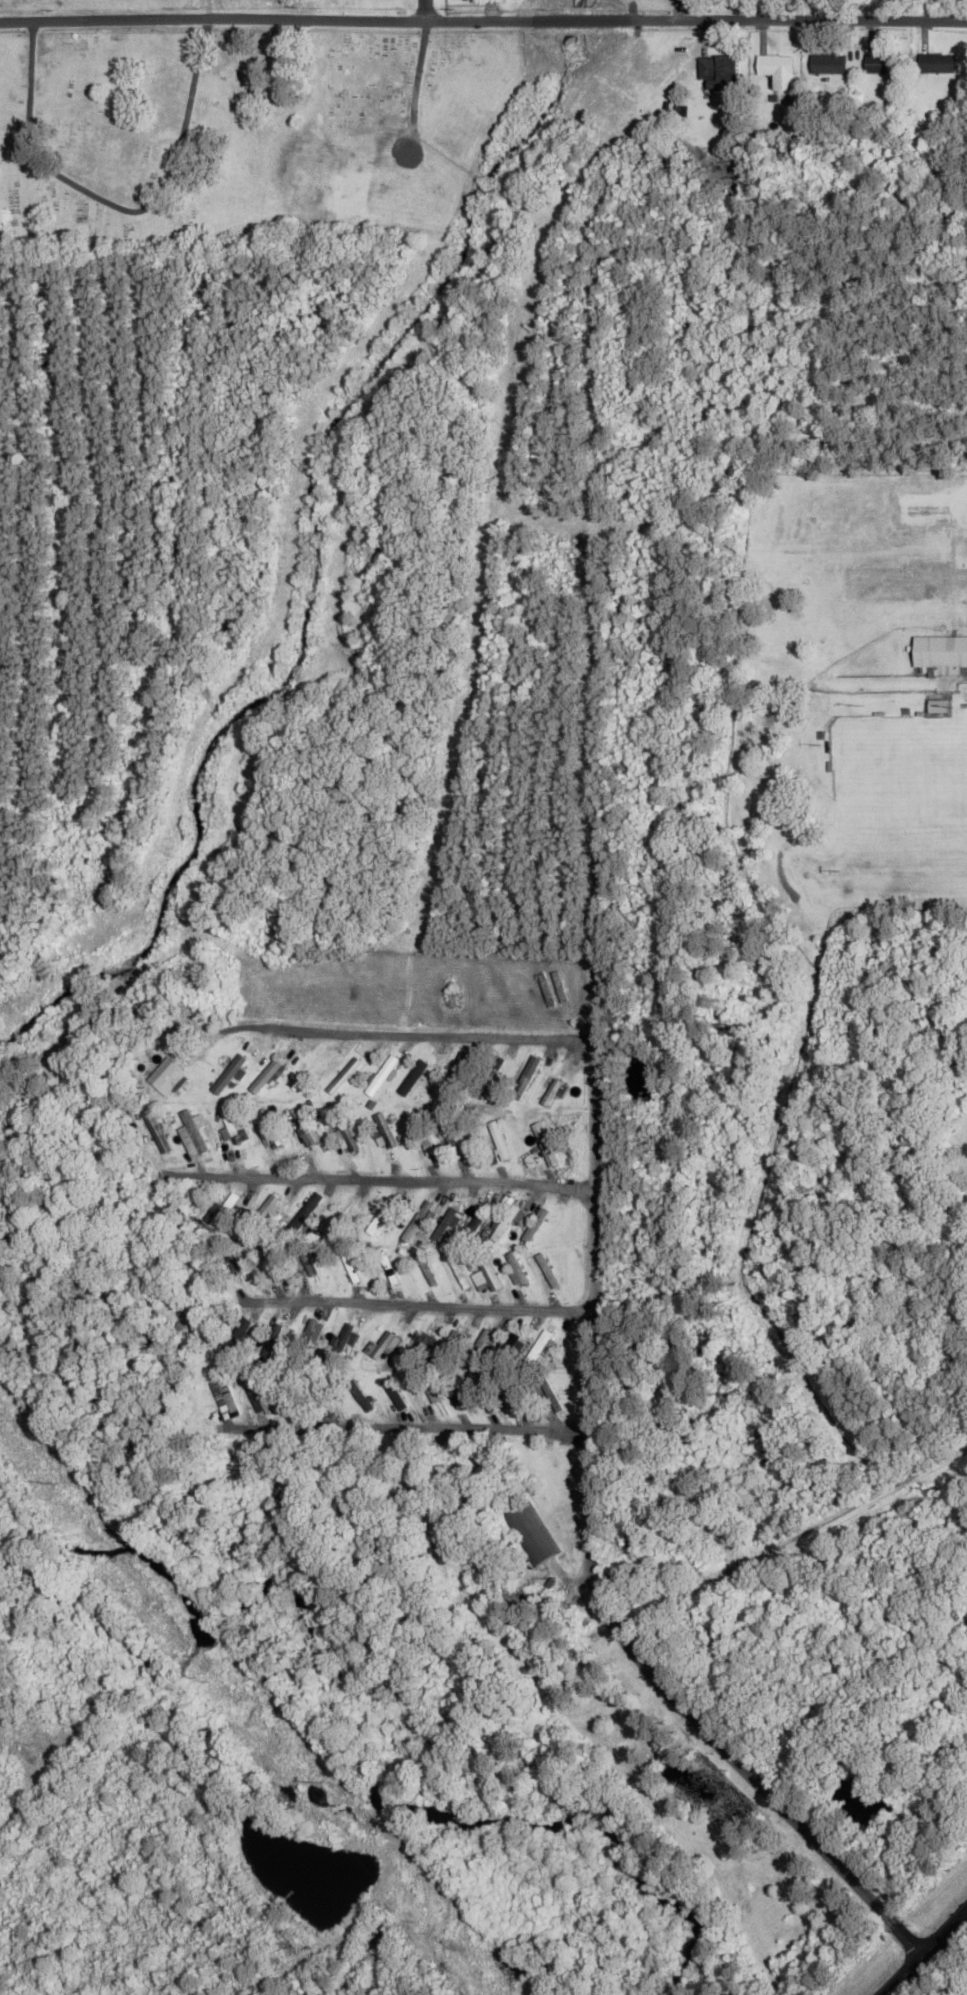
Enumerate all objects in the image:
road: (208, 7)
road: (423, 10)
road: (483, 20)
building: (937, 63)
building: (829, 64)
building: (882, 64)
building: (780, 70)
building: (719, 71)
road: (413, 84)
road: (113, 202)
building: (942, 653)
building: (939, 706)
road: (417, 1033)
building: (230, 1074)
building: (382, 1074)
building: (308, 1075)
building: (527, 1075)
building: (266, 1076)
building: (453, 1076)
building: (489, 1076)
building: (172, 1079)
building: (342, 1079)
building: (639, 1079)
building: (413, 1082)
building: (553, 1092)
building: (193, 1124)
building: (231, 1125)
building: (308, 1125)
building: (270, 1127)
building: (387, 1129)
building: (456, 1129)
building: (157, 1130)
building: (347, 1130)
building: (425, 1135)
building: (500, 1139)
building: (546, 1142)
road: (380, 1179)
building: (227, 1210)
building: (266, 1210)
building: (308, 1211)
building: (380, 1217)
building: (339, 1219)
building: (419, 1221)
building: (475, 1223)
building: (446, 1224)
building: (505, 1224)
building: (536, 1225)
building: (232, 1259)
building: (275, 1264)
building: (352, 1264)
building: (391, 1267)
building: (486, 1267)
building: (517, 1267)
building: (460, 1269)
building: (549, 1269)
building: (429, 1271)
road: (418, 1305)
building: (314, 1327)
building: (342, 1341)
building: (480, 1342)
building: (383, 1345)
building: (449, 1346)
building: (539, 1346)
building: (418, 1349)
building: (507, 1349)
building: (429, 1386)
building: (491, 1390)
building: (461, 1391)
building: (395, 1394)
building: (263, 1395)
building: (360, 1395)
building: (553, 1396)
building: (232, 1401)
road: (408, 1424)
power tower: (56, 1485)
road: (838, 1514)
building: (532, 1533)
building: (703, 1543)
road: (588, 1560)
river: (379, 1714)
power tower: (319, 1782)
road: (924, 1950)

